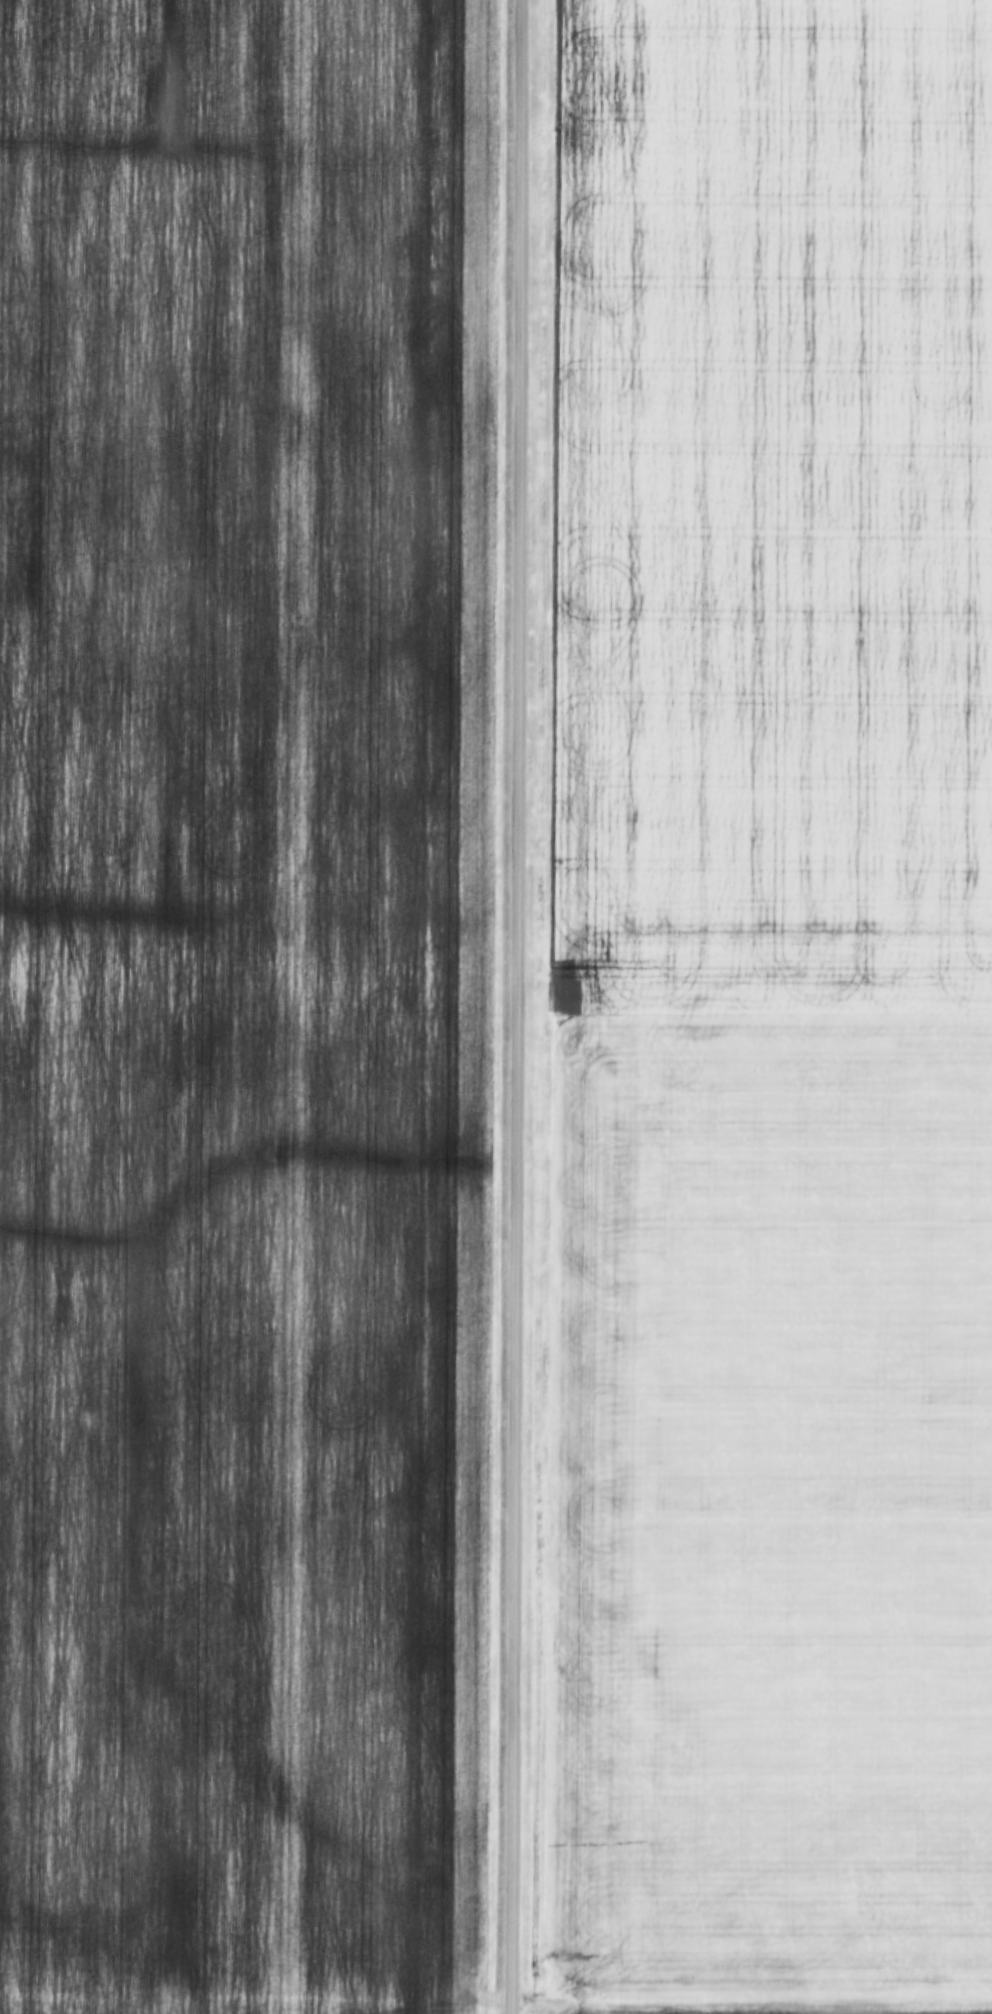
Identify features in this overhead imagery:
road: (518, 1007)

